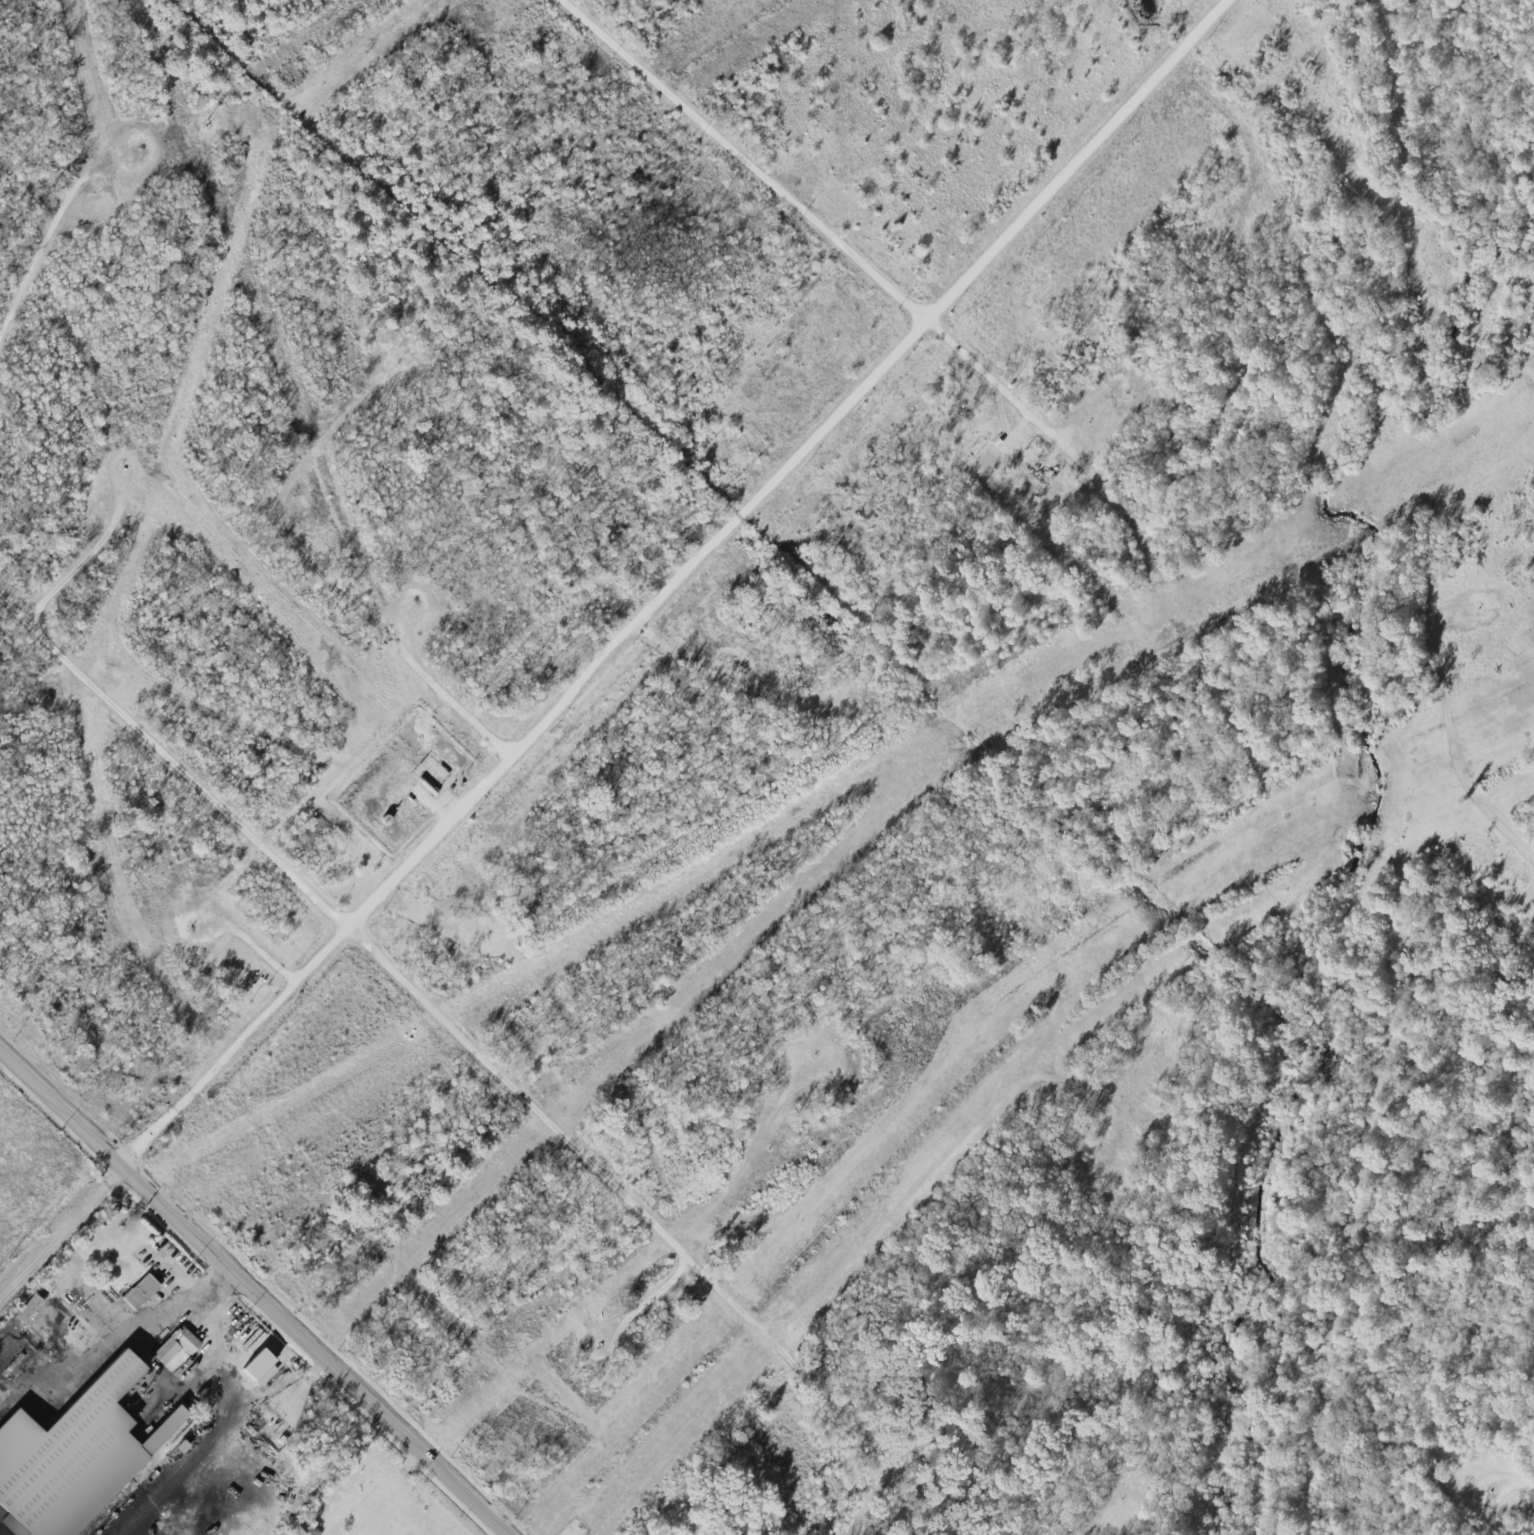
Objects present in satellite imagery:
road: (44, 247)
road: (900, 286)
road: (82, 559)
road: (325, 576)
road: (32, 615)
road: (623, 655)
road: (745, 685)
road: (1523, 833)
road: (437, 917)
road: (245, 938)
road: (555, 1130)
road: (728, 1201)
road: (215, 1285)
road: (257, 1288)
building: (140, 1292)
building: (28, 1308)
building: (176, 1345)
road: (92, 1355)
building: (259, 1368)
road: (823, 1387)
road: (219, 1436)
building: (69, 1458)
road: (1525, 1489)
road: (1477, 1492)
park: (25, 1512)

